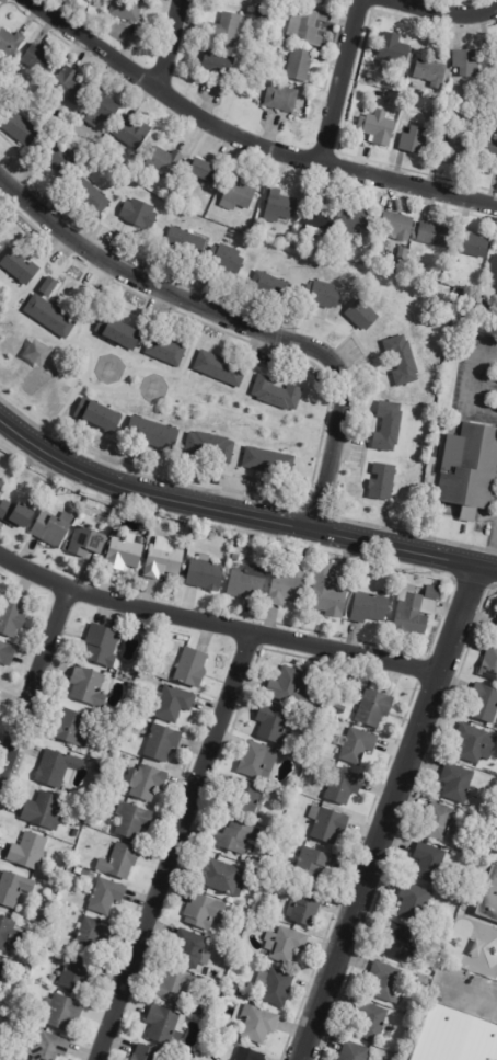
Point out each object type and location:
building: (294, 0)
building: (316, 2)
building: (233, 3)
building: (127, 10)
road: (448, 12)
building: (264, 13)
building: (275, 15)
building: (308, 26)
building: (226, 30)
building: (10, 43)
road: (167, 45)
building: (395, 49)
building: (41, 61)
building: (469, 64)
building: (300, 66)
building: (218, 67)
building: (431, 73)
building: (496, 73)
road: (340, 80)
building: (69, 87)
building: (377, 93)
building: (281, 99)
building: (393, 103)
building: (102, 109)
building: (20, 128)
building: (379, 128)
building: (132, 134)
road: (244, 137)
building: (415, 141)
building: (489, 149)
building: (453, 151)
building: (60, 158)
building: (164, 162)
building: (203, 172)
building: (238, 195)
building: (90, 198)
building: (280, 207)
building: (139, 215)
building: (320, 217)
building: (358, 221)
building: (259, 226)
building: (397, 227)
building: (434, 236)
building: (186, 244)
building: (473, 246)
building: (404, 254)
building: (226, 260)
building: (402, 265)
building: (20, 267)
building: (412, 269)
building: (494, 274)
building: (47, 286)
building: (271, 287)
building: (323, 297)
building: (484, 309)
building: (362, 316)
building: (50, 317)
road: (238, 320)
building: (119, 333)
building: (166, 352)
building: (403, 362)
building: (220, 371)
road: (472, 383)
building: (277, 395)
building: (99, 418)
building: (389, 428)
building: (153, 434)
building: (210, 447)
building: (269, 463)
building: (471, 471)
building: (383, 483)
building: (2, 485)
building: (125, 512)
building: (16, 514)
road: (240, 515)
building: (53, 527)
building: (118, 534)
building: (86, 542)
road: (490, 550)
building: (125, 552)
building: (309, 555)
building: (163, 560)
building: (206, 573)
building: (247, 583)
building: (288, 585)
building: (328, 592)
building: (370, 607)
building: (416, 609)
building: (11, 617)
road: (216, 624)
building: (496, 629)
building: (99, 643)
building: (7, 653)
building: (490, 663)
building: (192, 668)
road: (33, 681)
building: (85, 685)
building: (290, 687)
building: (173, 703)
building: (485, 703)
building: (322, 706)
building: (374, 708)
building: (319, 715)
building: (275, 725)
building: (337, 726)
building: (315, 727)
building: (72, 728)
building: (162, 742)
building: (476, 743)
building: (358, 745)
building: (254, 759)
building: (58, 768)
building: (100, 768)
building: (147, 783)
building: (458, 783)
building: (345, 786)
building: (246, 798)
building: (45, 811)
road: (391, 813)
building: (134, 821)
building: (78, 822)
building: (439, 822)
building: (328, 824)
building: (292, 825)
building: (239, 839)
building: (297, 843)
road: (177, 846)
building: (28, 851)
building: (120, 862)
building: (430, 862)
building: (314, 864)
building: (59, 870)
building: (85, 874)
building: (259, 875)
building: (56, 877)
building: (223, 878)
building: (290, 884)
building: (14, 889)
building: (106, 897)
building: (488, 898)
building: (269, 899)
building: (415, 902)
building: (305, 908)
building: (205, 912)
building: (42, 913)
building: (258, 921)
building: (235, 931)
building: (9, 935)
building: (93, 935)
building: (437, 938)
building: (403, 943)
building: (289, 945)
building: (193, 949)
building: (1, 966)
building: (213, 973)
building: (76, 974)
building: (423, 979)
building: (1, 983)
building: (386, 983)
building: (215, 985)
building: (175, 987)
building: (278, 989)
building: (235, 990)
road: (470, 993)
building: (61, 1013)
building: (371, 1021)
building: (258, 1024)
building: (164, 1025)
building: (215, 1028)
building: (230, 1033)
building: (455, 1037)
building: (48, 1047)
building: (355, 1051)
building: (148, 1053)
building: (250, 1055)

